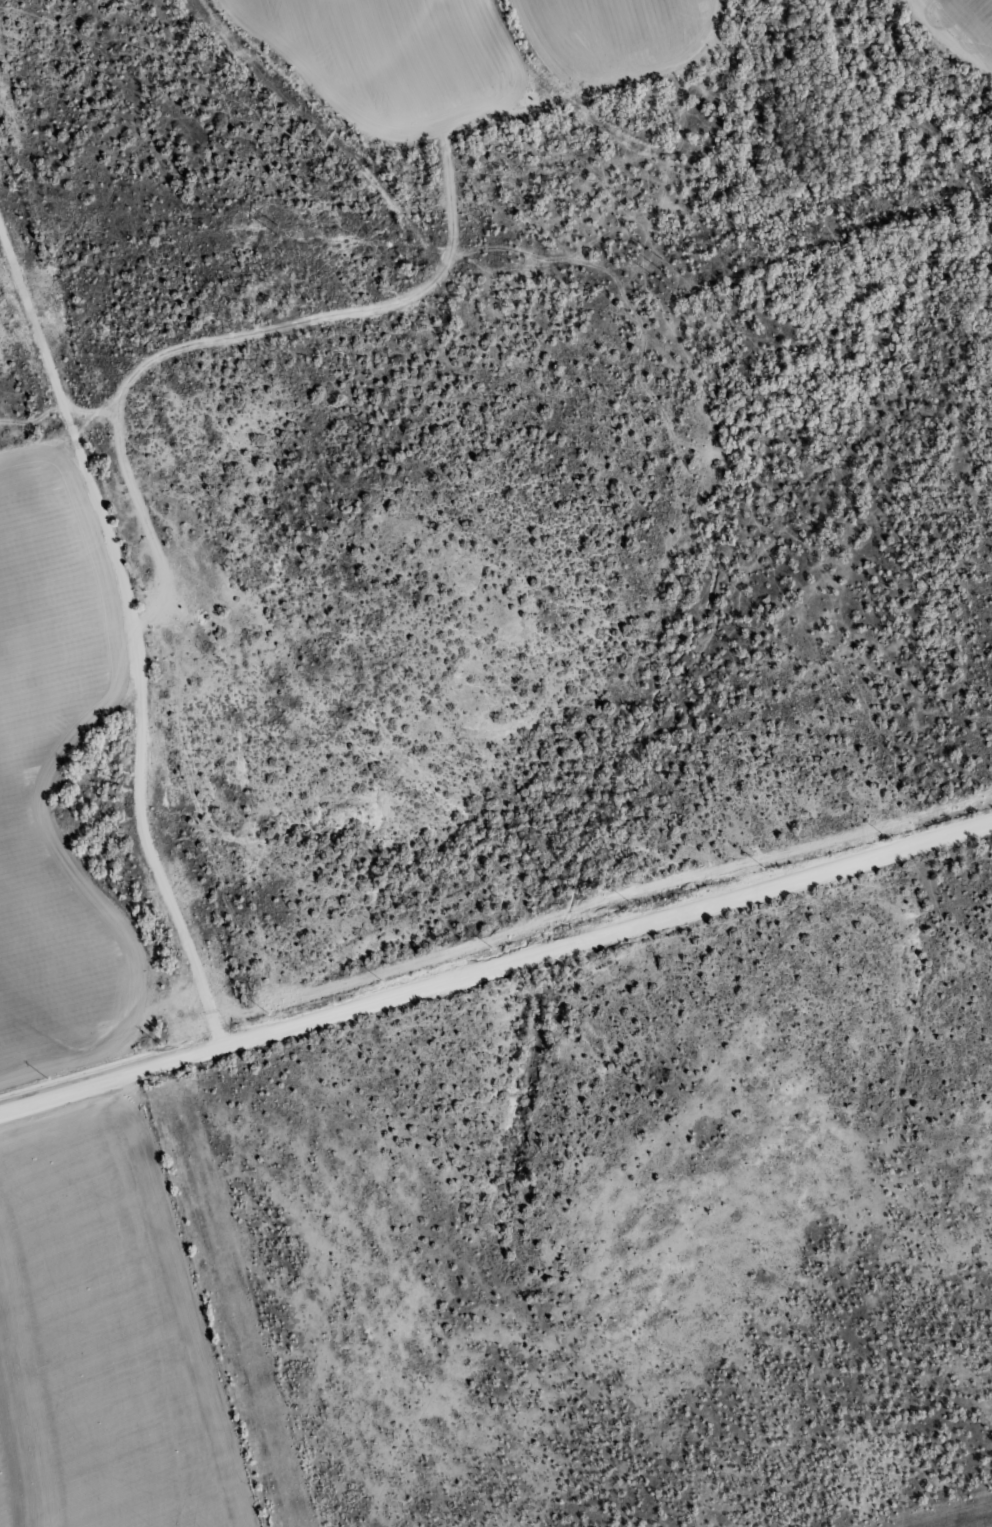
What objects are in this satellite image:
power tower: (277, 228)
power tower: (664, 266)
road: (496, 977)

